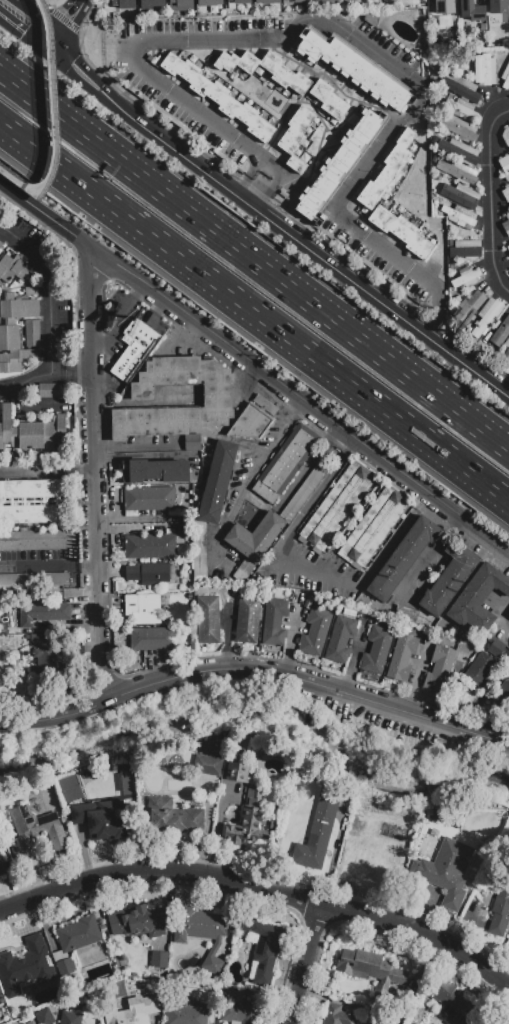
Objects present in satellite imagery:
building: (282, 0)
building: (321, 0)
building: (240, 2)
building: (266, 2)
building: (209, 3)
building: (124, 4)
building: (151, 4)
building: (181, 5)
building: (444, 6)
building: (466, 6)
building: (499, 6)
road: (38, 18)
traffic signals: (70, 20)
building: (445, 21)
road: (342, 22)
road: (68, 23)
traffic signals: (21, 36)
road: (23, 37)
traffic signals: (71, 65)
building: (354, 69)
building: (482, 69)
building: (265, 70)
building: (505, 78)
building: (460, 88)
building: (218, 97)
building: (328, 101)
building: (462, 110)
road: (52, 117)
building: (459, 128)
building: (506, 136)
building: (296, 138)
building: (460, 150)
building: (341, 164)
building: (504, 166)
building: (387, 172)
building: (460, 172)
building: (505, 194)
building: (461, 195)
road: (492, 201)
building: (459, 216)
road: (276, 223)
building: (506, 226)
building: (400, 232)
building: (0, 244)
building: (1, 246)
building: (508, 247)
building: (465, 249)
road: (254, 263)
building: (15, 270)
building: (465, 276)
building: (31, 292)
road: (137, 298)
building: (470, 307)
road: (52, 313)
road: (254, 314)
building: (486, 316)
road: (124, 319)
building: (15, 332)
building: (501, 333)
building: (32, 334)
building: (134, 350)
building: (506, 351)
road: (254, 366)
road: (70, 373)
building: (50, 391)
building: (216, 392)
building: (254, 419)
building: (31, 432)
building: (191, 443)
road: (261, 463)
building: (282, 468)
road: (46, 469)
building: (154, 472)
road: (94, 474)
building: (217, 482)
building: (303, 493)
building: (148, 498)
building: (34, 501)
building: (335, 508)
building: (373, 529)
building: (255, 537)
building: (35, 540)
building: (150, 547)
road: (429, 552)
road: (47, 566)
road: (312, 567)
building: (243, 572)
building: (148, 573)
building: (391, 574)
building: (34, 580)
building: (478, 600)
building: (143, 609)
building: (42, 613)
building: (405, 614)
road: (504, 619)
building: (208, 620)
building: (248, 620)
building: (274, 622)
building: (315, 631)
building: (39, 640)
building: (340, 640)
building: (152, 644)
road: (289, 644)
building: (494, 645)
building: (376, 650)
building: (403, 657)
building: (47, 664)
road: (256, 669)
building: (480, 669)
building: (438, 670)
road: (414, 675)
building: (503, 694)
building: (207, 765)
building: (237, 770)
building: (252, 796)
building: (435, 813)
building: (173, 817)
building: (100, 818)
building: (378, 820)
building: (248, 828)
building: (31, 832)
building: (317, 834)
building: (370, 862)
building: (2, 869)
building: (446, 872)
road: (264, 890)
building: (498, 902)
building: (137, 922)
building: (201, 932)
building: (74, 946)
building: (263, 947)
building: (160, 960)
road: (308, 964)
building: (25, 967)
building: (370, 970)
building: (1, 999)
building: (453, 1003)
building: (133, 1011)
building: (187, 1013)
building: (240, 1014)
building: (337, 1015)
building: (45, 1017)
building: (70, 1018)
building: (387, 1021)
building: (31, 1023)
road: (508, 1023)

